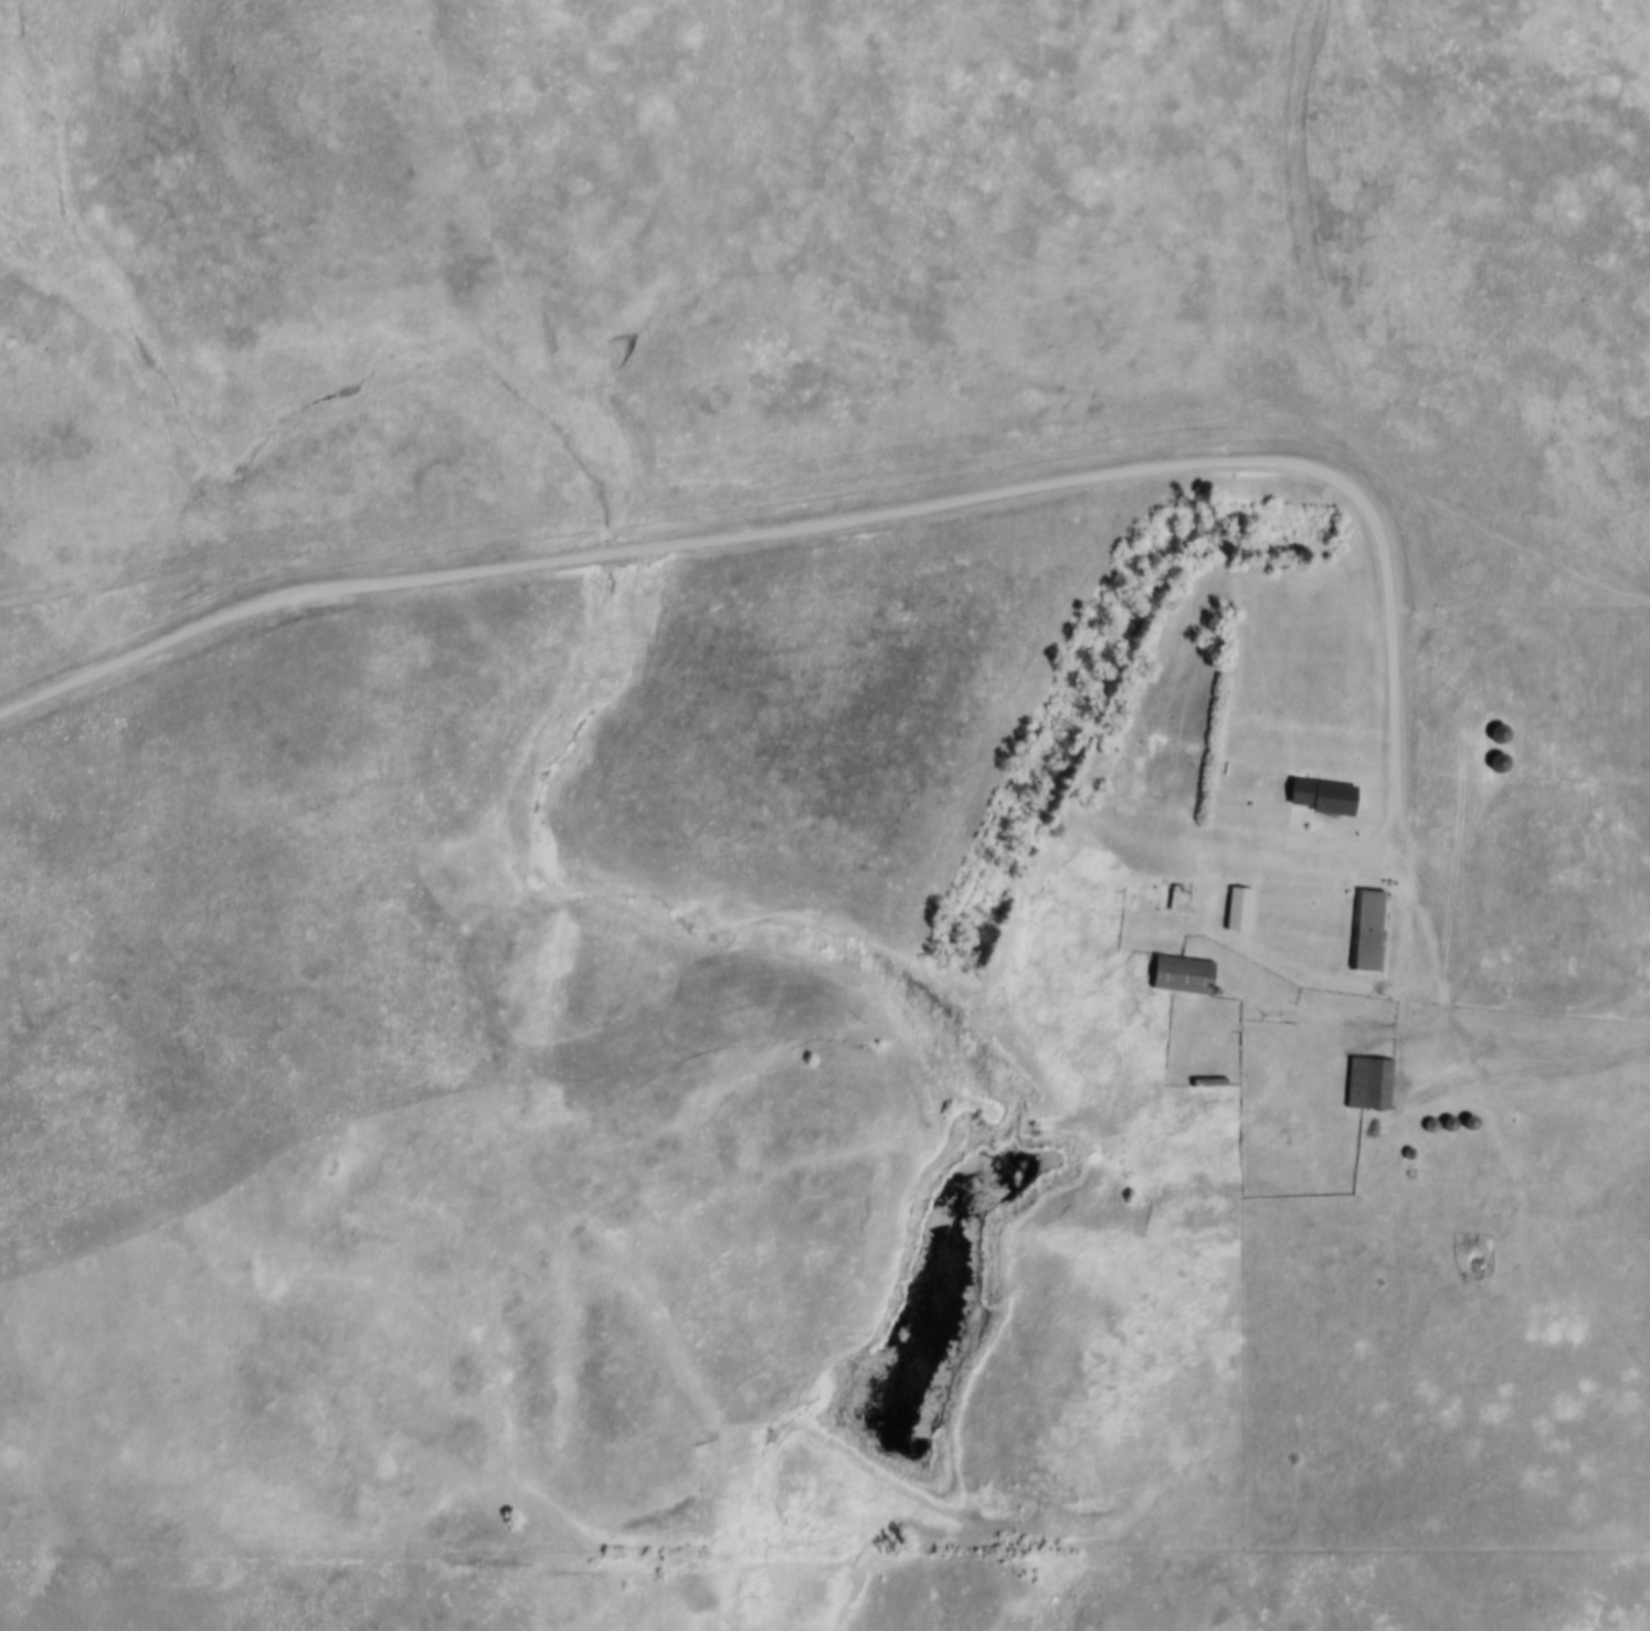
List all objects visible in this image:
road: (840, 521)
building: (1499, 733)
building: (1499, 763)
building: (1325, 796)
building: (1160, 894)
building: (1240, 908)
building: (1372, 931)
building: (1185, 975)
road: (1459, 1021)
building: (1372, 1082)
building: (1471, 1122)

